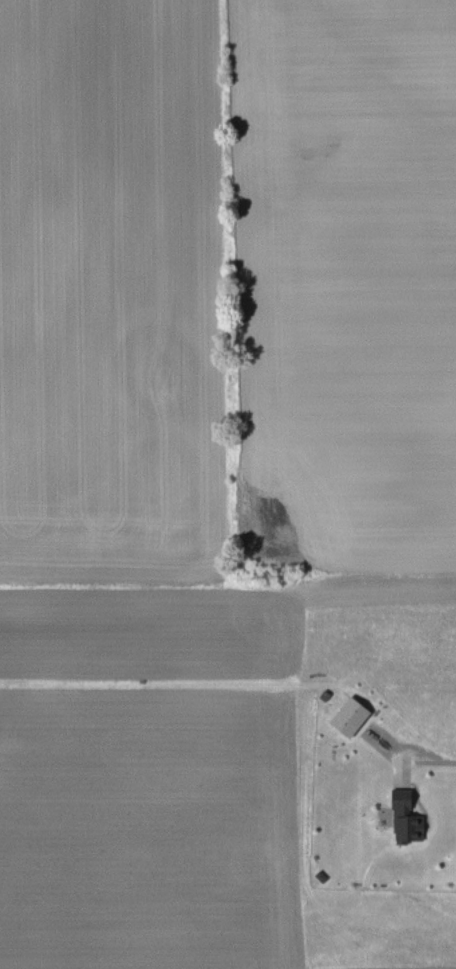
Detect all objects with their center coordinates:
road: (446, 761)

